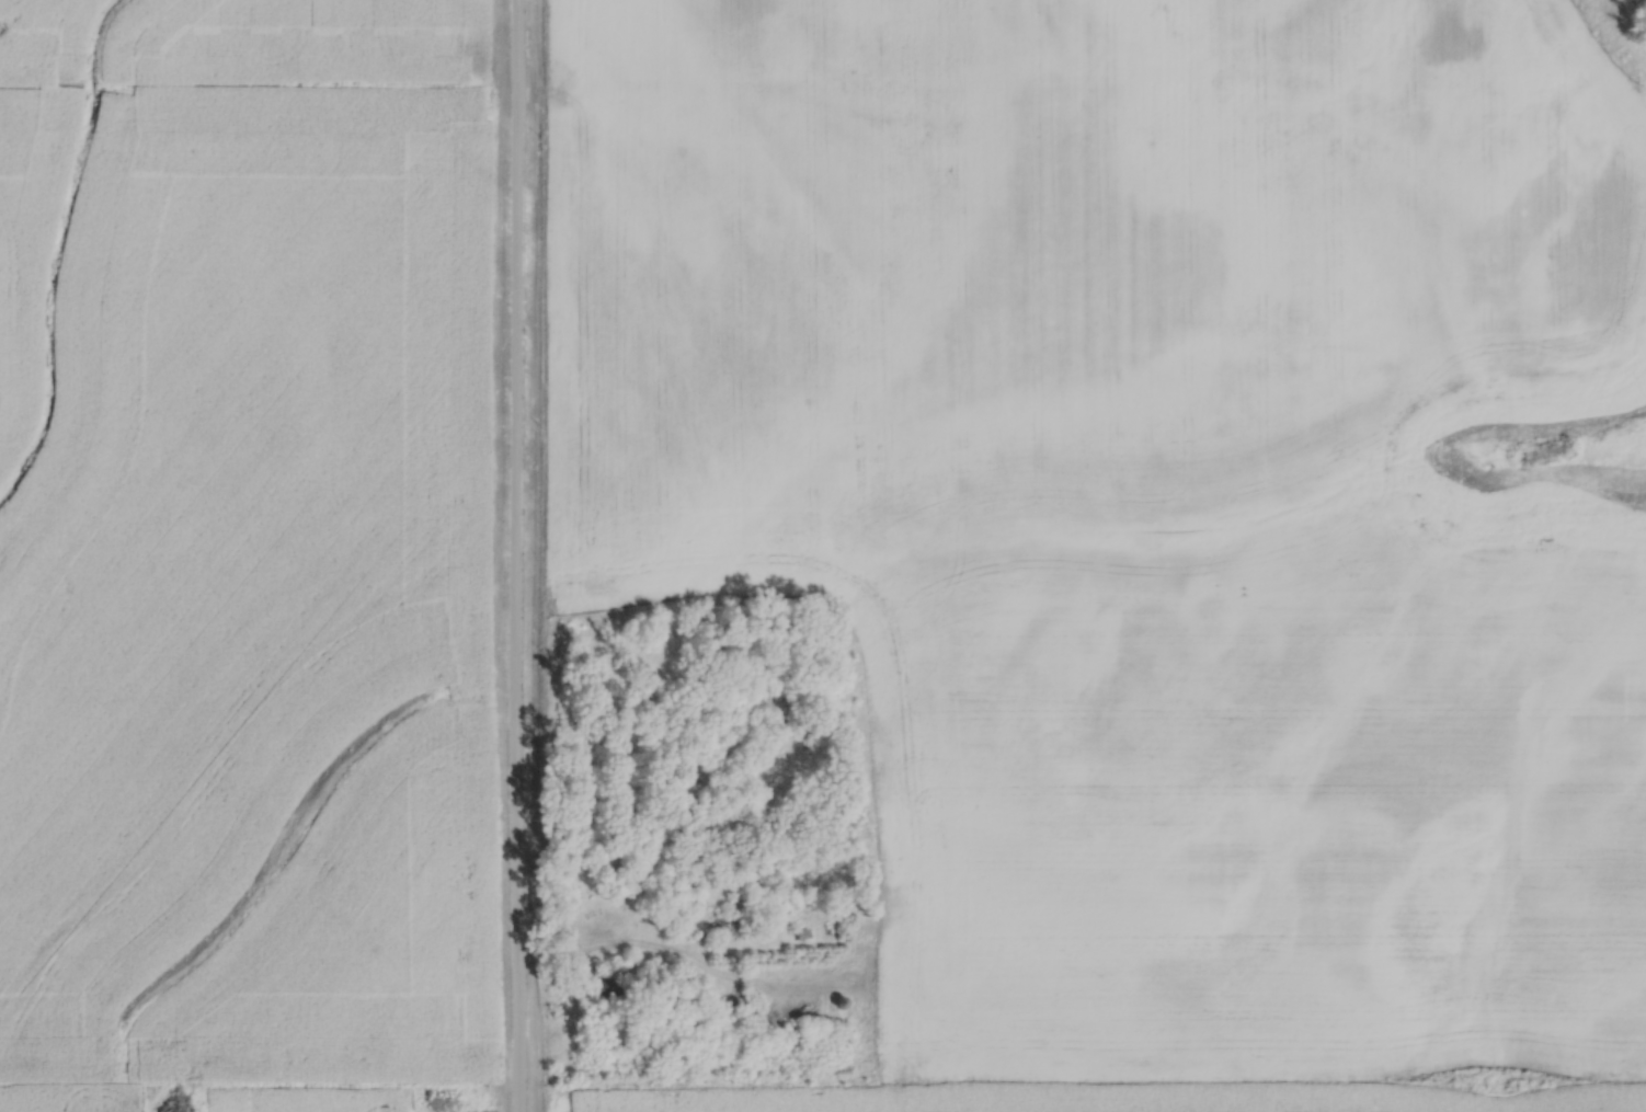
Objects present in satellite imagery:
road: (513, 555)
building: (608, 867)
building: (730, 927)
building: (611, 987)
building: (683, 998)

